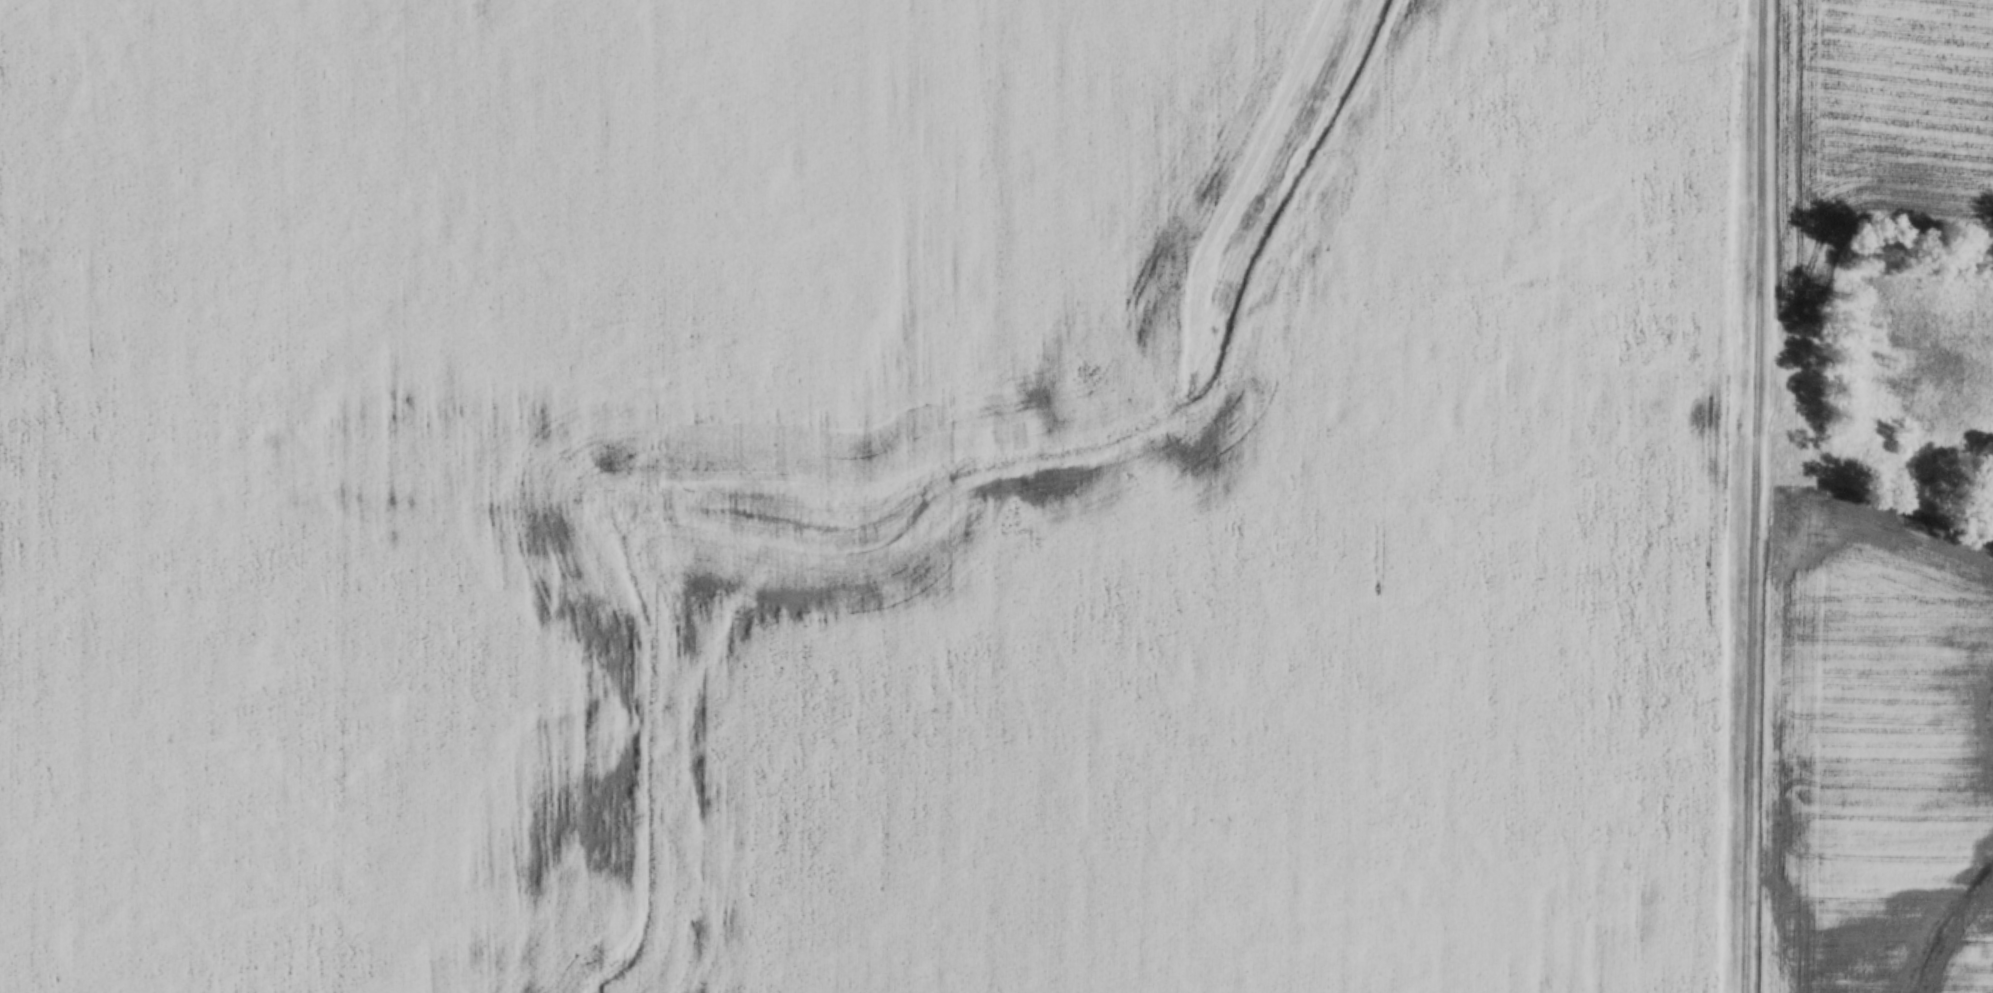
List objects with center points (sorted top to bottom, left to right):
road: (1759, 495)

